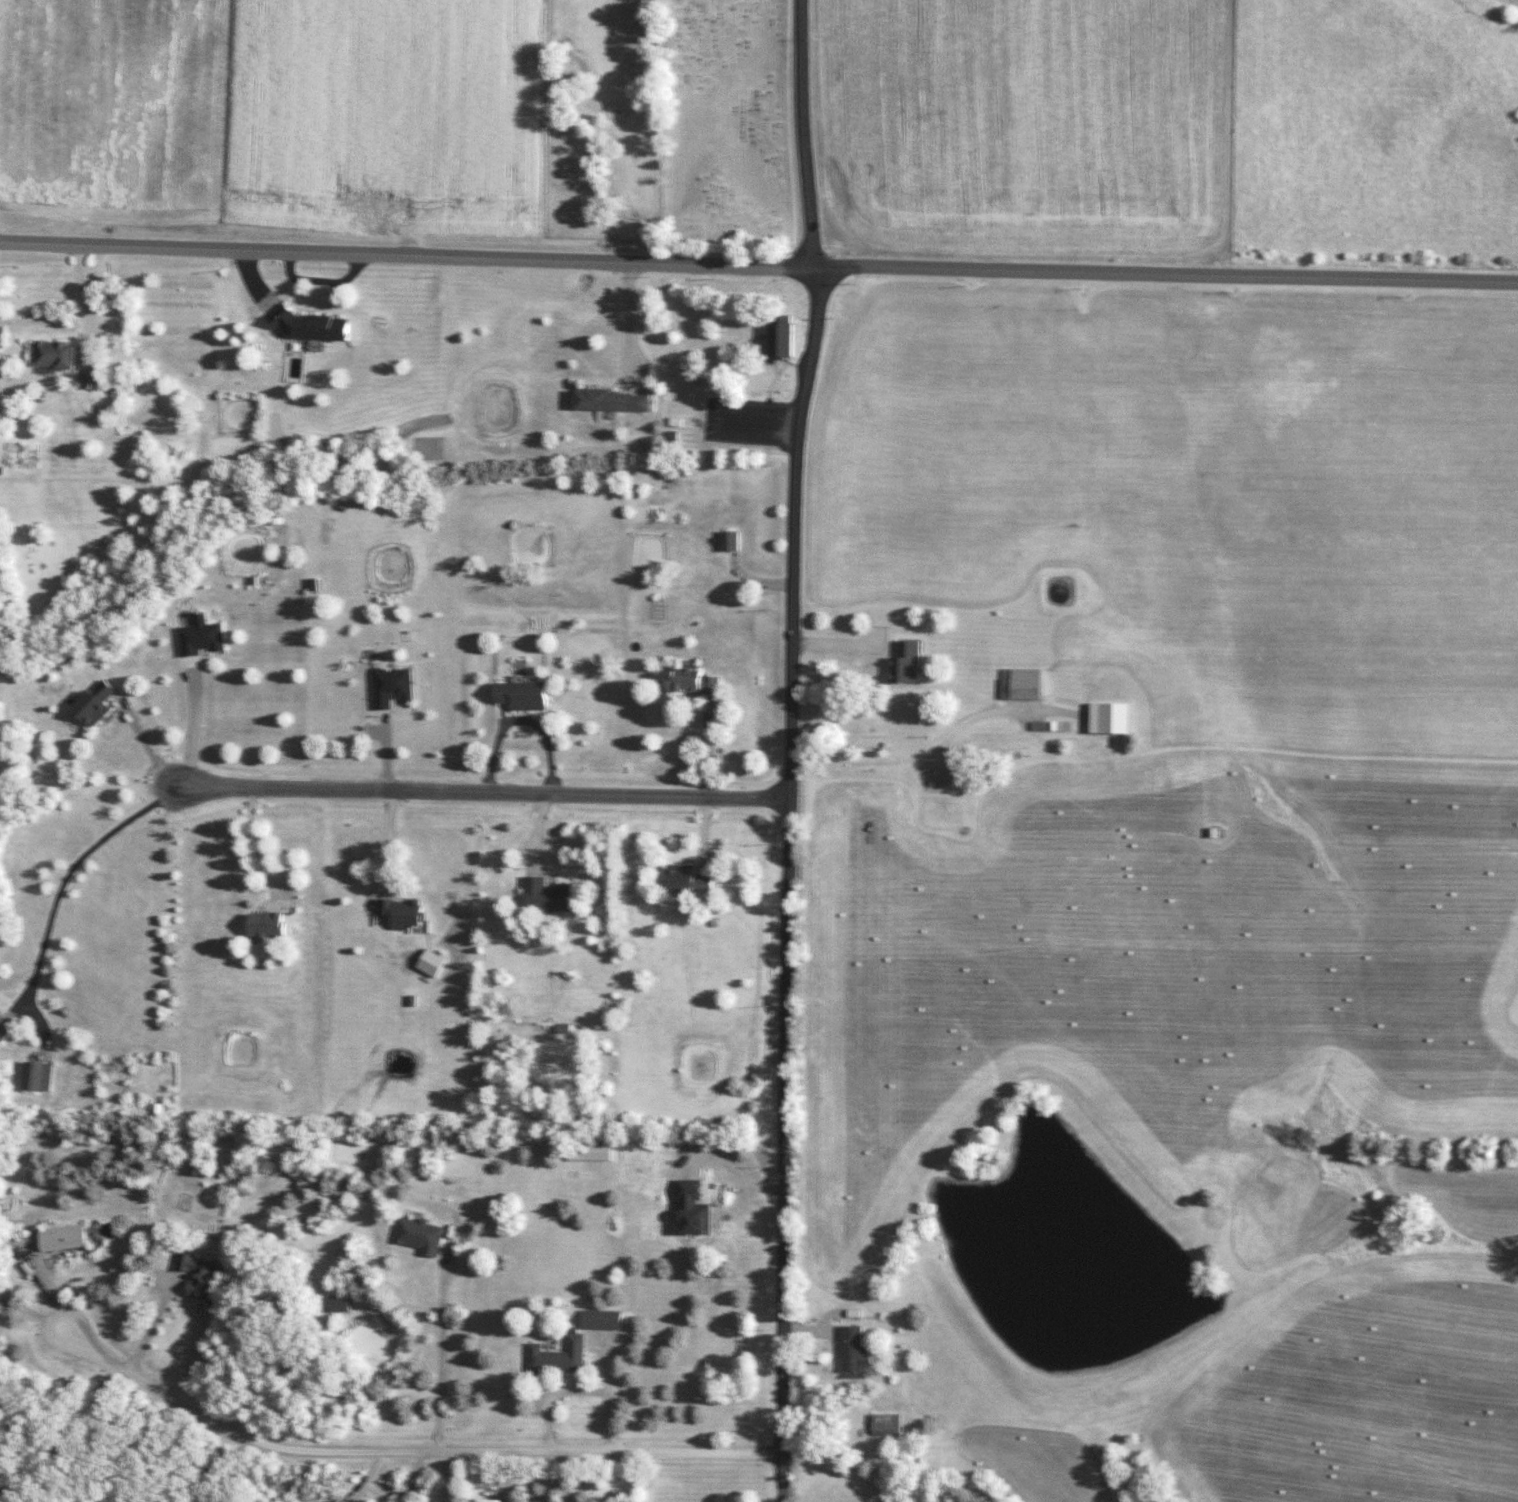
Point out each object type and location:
road: (758, 265)
road: (629, 320)
building: (316, 325)
building: (787, 339)
building: (57, 354)
building: (615, 400)
building: (731, 540)
building: (205, 636)
building: (908, 663)
building: (700, 682)
building: (1024, 684)
building: (394, 686)
building: (528, 695)
building: (102, 703)
building: (1115, 718)
road: (189, 728)
road: (935, 739)
road: (144, 749)
road: (786, 750)
building: (941, 780)
road: (482, 789)
road: (254, 842)
road: (67, 871)
building: (691, 879)
building: (550, 896)
building: (409, 916)
building: (271, 925)
building: (39, 1076)
building: (599, 1152)
building: (421, 1236)
building: (64, 1238)
building: (205, 1281)
building: (342, 1304)
building: (605, 1320)
road: (151, 1323)
road: (435, 1346)
building: (855, 1352)
building: (560, 1359)
building: (888, 1424)
road: (72, 1431)
road: (414, 1448)
building: (340, 1501)

